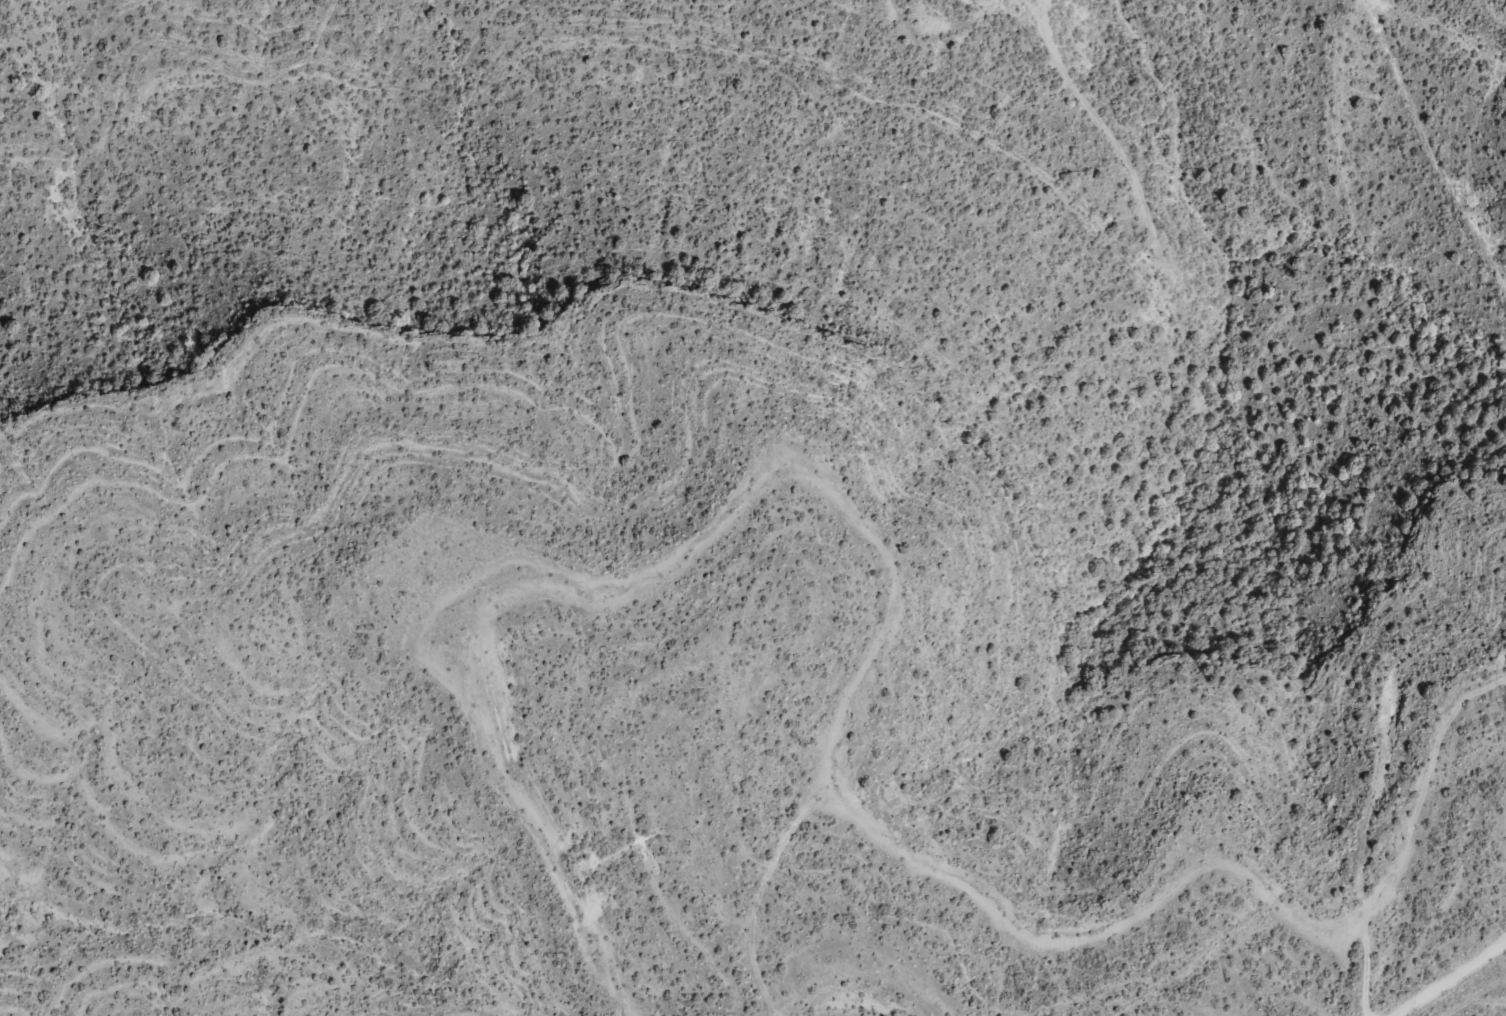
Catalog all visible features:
road: (1030, 2)
road: (1486, 1006)

